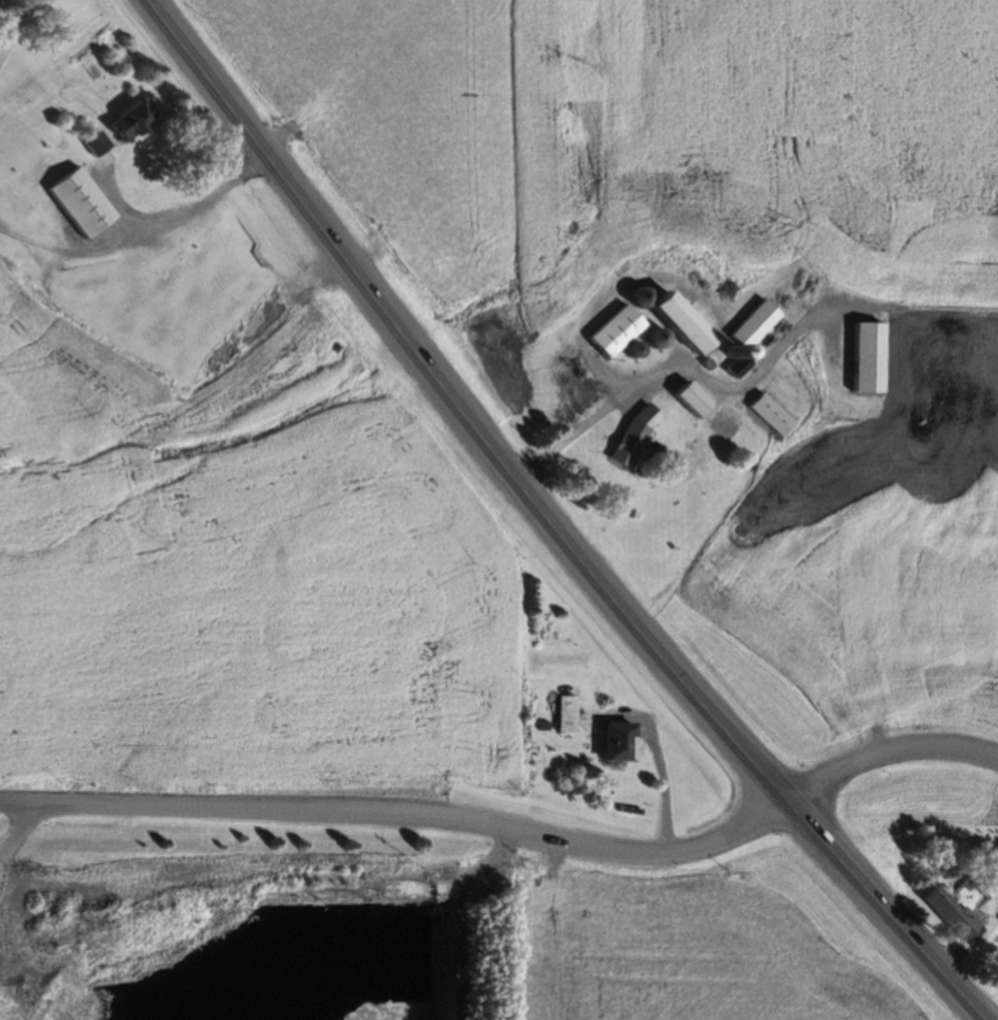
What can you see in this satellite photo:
road: (16, 20)
building: (127, 124)
building: (93, 146)
building: (30, 155)
building: (20, 186)
building: (77, 205)
building: (24, 209)
road: (138, 231)
building: (115, 283)
building: (662, 306)
building: (98, 313)
building: (763, 318)
building: (259, 327)
building: (158, 335)
building: (612, 335)
building: (652, 343)
building: (865, 361)
building: (688, 403)
road: (582, 417)
building: (767, 418)
building: (630, 439)
road: (545, 530)
building: (565, 717)
building: (615, 745)
road: (881, 749)
road: (659, 772)
road: (398, 810)
quarry: (269, 914)
building: (950, 918)

